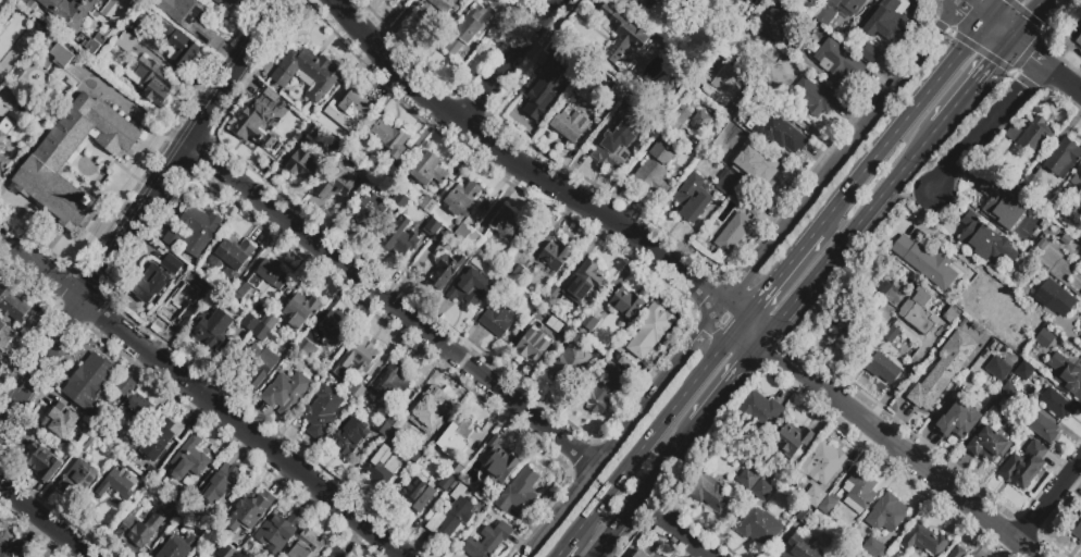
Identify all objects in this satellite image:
building: (396, 0)
building: (213, 1)
building: (218, 1)
building: (634, 1)
building: (670, 1)
building: (750, 1)
building: (232, 2)
building: (440, 7)
traffic signals: (972, 8)
road: (974, 9)
road: (994, 10)
building: (837, 11)
road: (1024, 12)
building: (188, 17)
building: (79, 20)
road: (1026, 20)
road: (1063, 21)
building: (779, 22)
building: (885, 22)
road: (942, 27)
building: (137, 29)
road: (998, 29)
building: (472, 30)
road: (949, 32)
road: (1039, 32)
building: (622, 35)
building: (7, 38)
building: (126, 42)
building: (175, 44)
building: (1079, 45)
road: (1024, 51)
building: (870, 52)
road: (982, 52)
road: (1024, 54)
building: (57, 57)
traffic signals: (1031, 57)
road: (508, 61)
building: (837, 61)
traffic signals: (992, 62)
road: (989, 64)
building: (309, 73)
road: (828, 76)
road: (1061, 76)
building: (0, 79)
building: (153, 85)
building: (723, 87)
building: (619, 90)
building: (545, 91)
building: (8, 97)
building: (816, 98)
building: (631, 103)
building: (272, 106)
building: (356, 107)
road: (952, 109)
building: (327, 115)
building: (678, 119)
road: (796, 120)
building: (701, 122)
building: (570, 124)
road: (900, 124)
road: (985, 127)
building: (259, 131)
building: (311, 132)
building: (778, 132)
building: (1012, 133)
building: (1034, 135)
building: (392, 139)
building: (4, 144)
building: (335, 149)
building: (614, 149)
road: (840, 151)
building: (1063, 158)
building: (759, 160)
building: (1004, 163)
road: (906, 164)
building: (301, 165)
road: (518, 165)
building: (46, 168)
building: (656, 169)
building: (430, 171)
building: (365, 175)
building: (393, 180)
building: (1029, 181)
building: (338, 182)
building: (728, 182)
building: (1077, 183)
road: (920, 193)
building: (693, 198)
road: (893, 198)
building: (462, 199)
building: (745, 200)
building: (401, 202)
building: (427, 205)
building: (1002, 207)
building: (369, 210)
road: (141, 215)
building: (507, 225)
building: (433, 227)
building: (192, 231)
building: (462, 233)
building: (732, 233)
building: (444, 236)
building: (399, 237)
building: (473, 240)
building: (985, 242)
building: (555, 257)
building: (233, 259)
road: (825, 261)
building: (928, 263)
building: (446, 270)
building: (272, 274)
road: (778, 276)
building: (520, 277)
building: (156, 280)
building: (583, 283)
building: (471, 288)
building: (203, 289)
building: (241, 292)
building: (884, 292)
building: (1054, 298)
building: (550, 300)
building: (626, 304)
building: (175, 306)
road: (392, 306)
building: (15, 308)
building: (302, 308)
building: (918, 311)
road: (730, 314)
building: (952, 314)
building: (498, 318)
building: (270, 321)
building: (589, 322)
building: (249, 323)
building: (905, 326)
building: (1080, 326)
building: (333, 329)
building: (211, 330)
road: (718, 330)
building: (564, 331)
road: (749, 332)
road: (768, 332)
building: (648, 333)
building: (263, 335)
building: (891, 335)
building: (4, 336)
building: (858, 337)
road: (728, 338)
building: (1044, 338)
building: (596, 339)
building: (1080, 339)
road: (780, 342)
building: (1080, 342)
building: (533, 345)
building: (306, 350)
road: (774, 351)
road: (150, 355)
building: (356, 359)
building: (570, 363)
building: (260, 366)
building: (883, 368)
building: (997, 368)
building: (316, 371)
building: (943, 371)
building: (1022, 372)
building: (1066, 374)
road: (728, 383)
building: (88, 384)
building: (390, 386)
road: (658, 386)
building: (125, 387)
building: (357, 391)
building: (286, 392)
building: (1008, 392)
building: (602, 395)
building: (1058, 406)
building: (138, 408)
building: (322, 411)
building: (757, 412)
building: (392, 418)
road: (666, 418)
building: (432, 419)
building: (957, 419)
building: (61, 422)
building: (400, 426)
building: (1041, 426)
building: (384, 429)
building: (455, 437)
building: (350, 438)
building: (159, 441)
building: (792, 442)
building: (128, 443)
building: (87, 444)
building: (990, 445)
road: (900, 453)
building: (415, 455)
building: (190, 459)
building: (41, 462)
building: (499, 462)
road: (666, 462)
building: (821, 462)
building: (425, 463)
building: (383, 466)
building: (460, 467)
building: (1024, 467)
building: (150, 472)
building: (775, 475)
building: (74, 479)
building: (748, 479)
building: (447, 482)
building: (115, 483)
building: (221, 483)
building: (455, 483)
building: (761, 490)
building: (521, 492)
building: (708, 492)
building: (858, 492)
building: (418, 493)
building: (184, 499)
road: (1046, 502)
building: (815, 505)
building: (248, 511)
road: (559, 511)
road: (593, 511)
road: (349, 513)
building: (452, 513)
building: (886, 513)
building: (157, 520)
road: (42, 521)
road: (614, 528)
building: (760, 528)
building: (1077, 529)
building: (278, 531)
building: (135, 532)
building: (486, 539)
road: (684, 539)
building: (923, 541)
building: (5, 545)
building: (306, 545)
building: (176, 547)
building: (22, 548)
road: (563, 548)
building: (802, 548)
building: (874, 548)
road: (1021, 550)
building: (227, 552)
building: (956, 552)
building: (45, 553)
building: (339, 554)
road: (399, 555)
building: (639, 555)
building: (194, 556)
road: (592, 556)
building: (971, 556)

